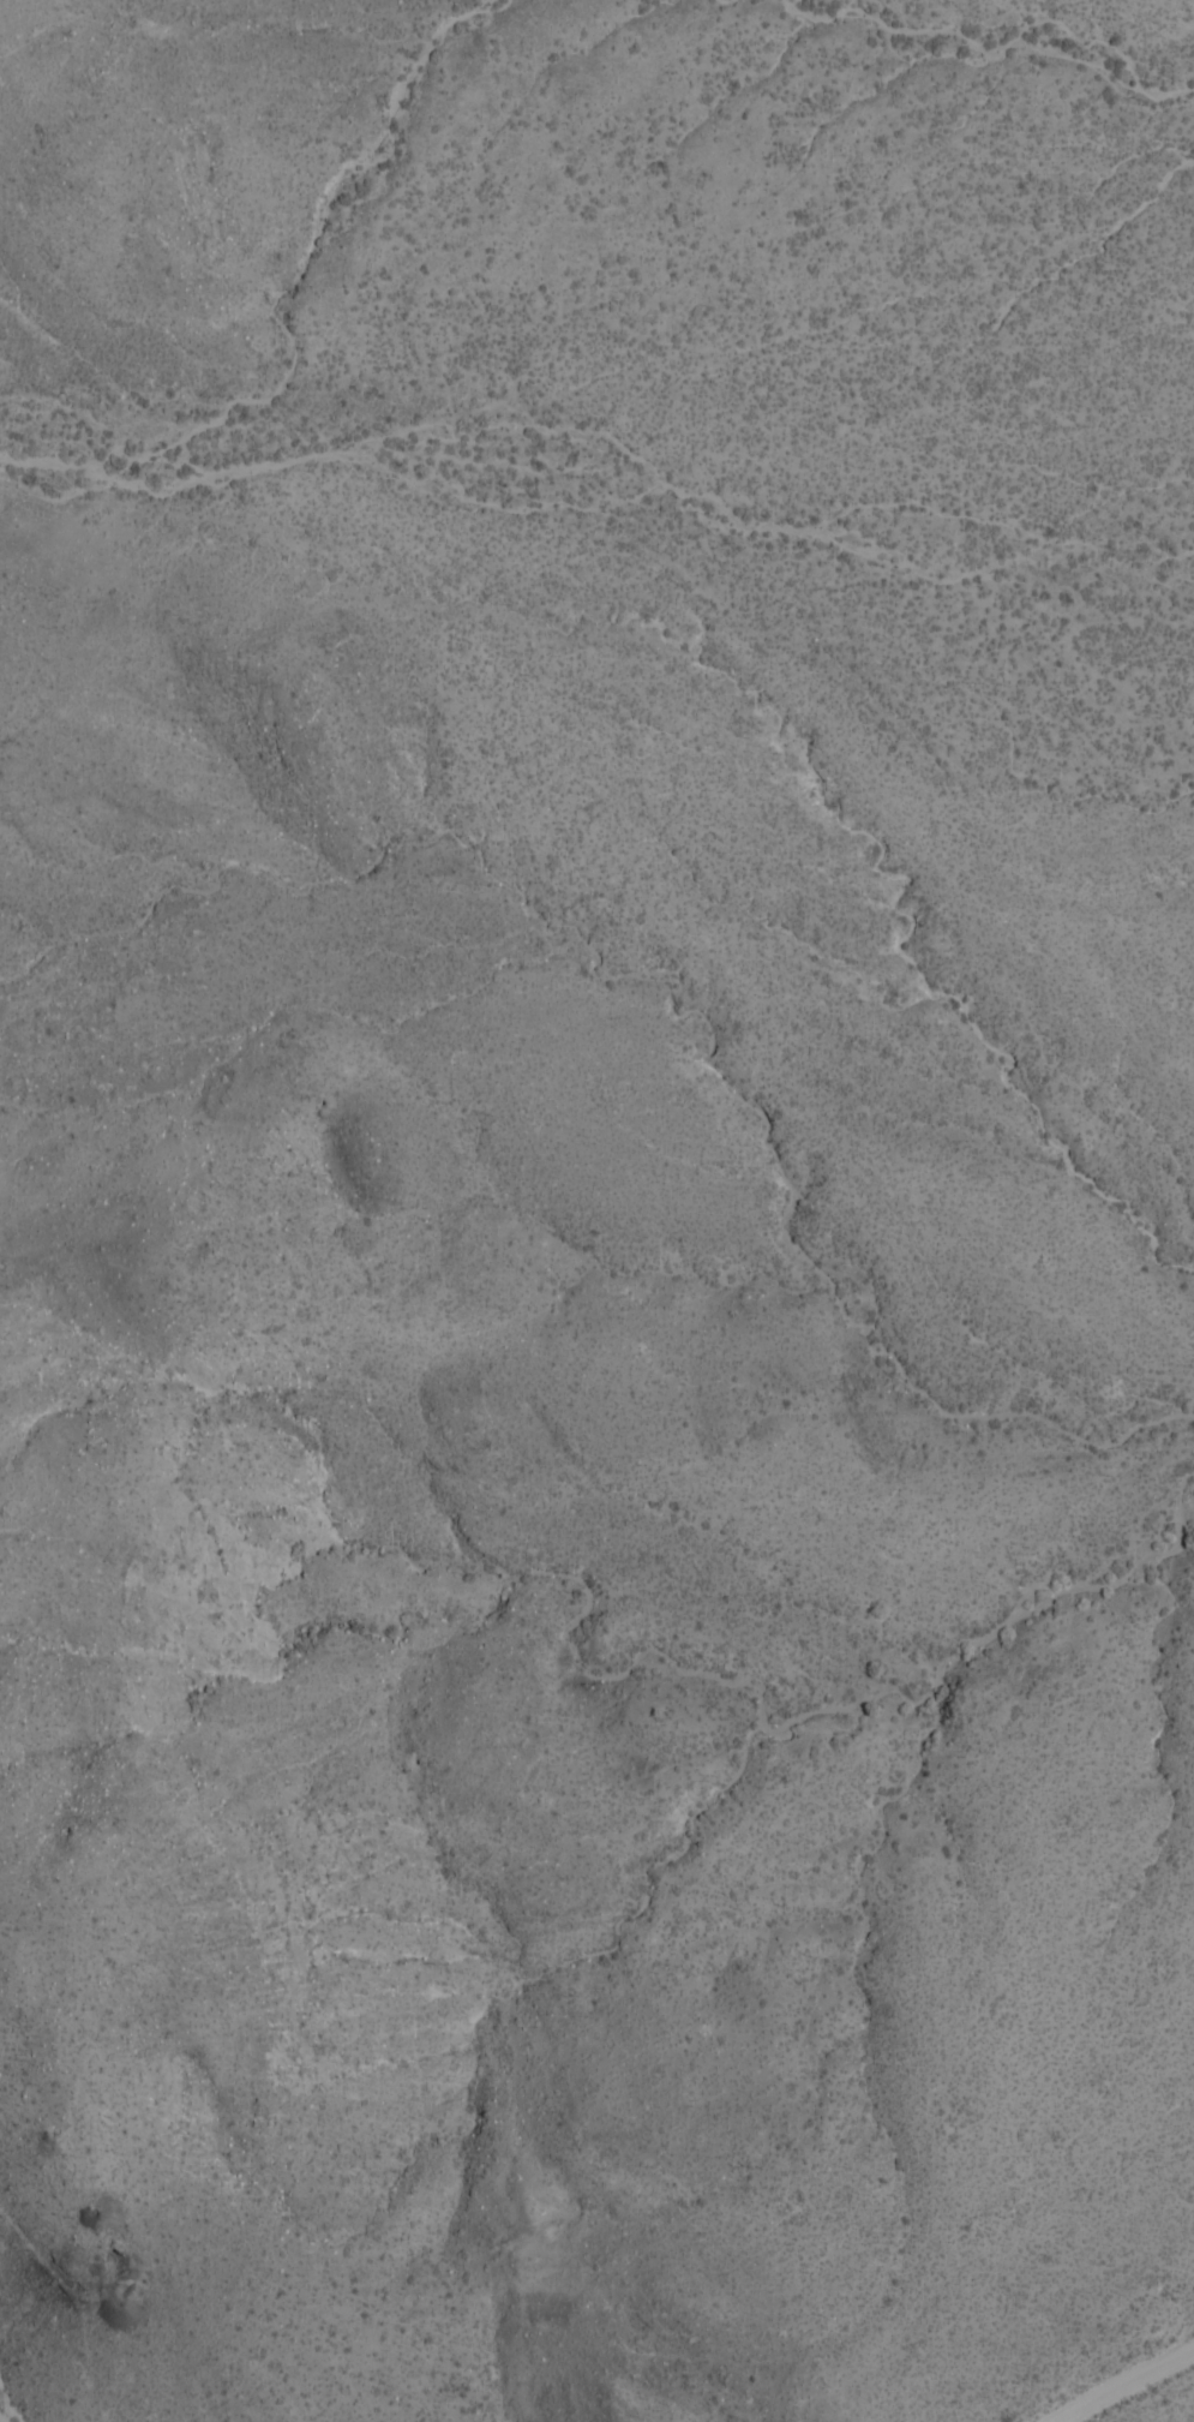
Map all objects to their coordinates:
road: (1126, 2382)

